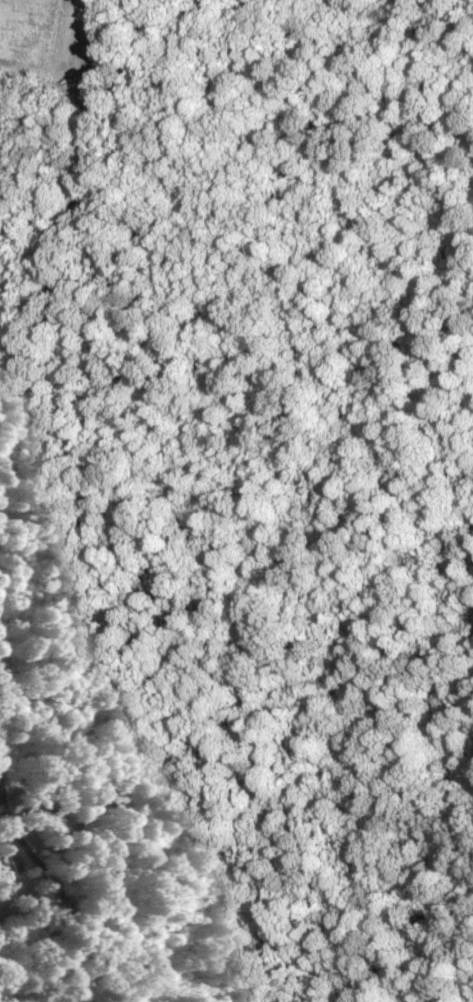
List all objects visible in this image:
road: (66, 222)
road: (62, 900)

